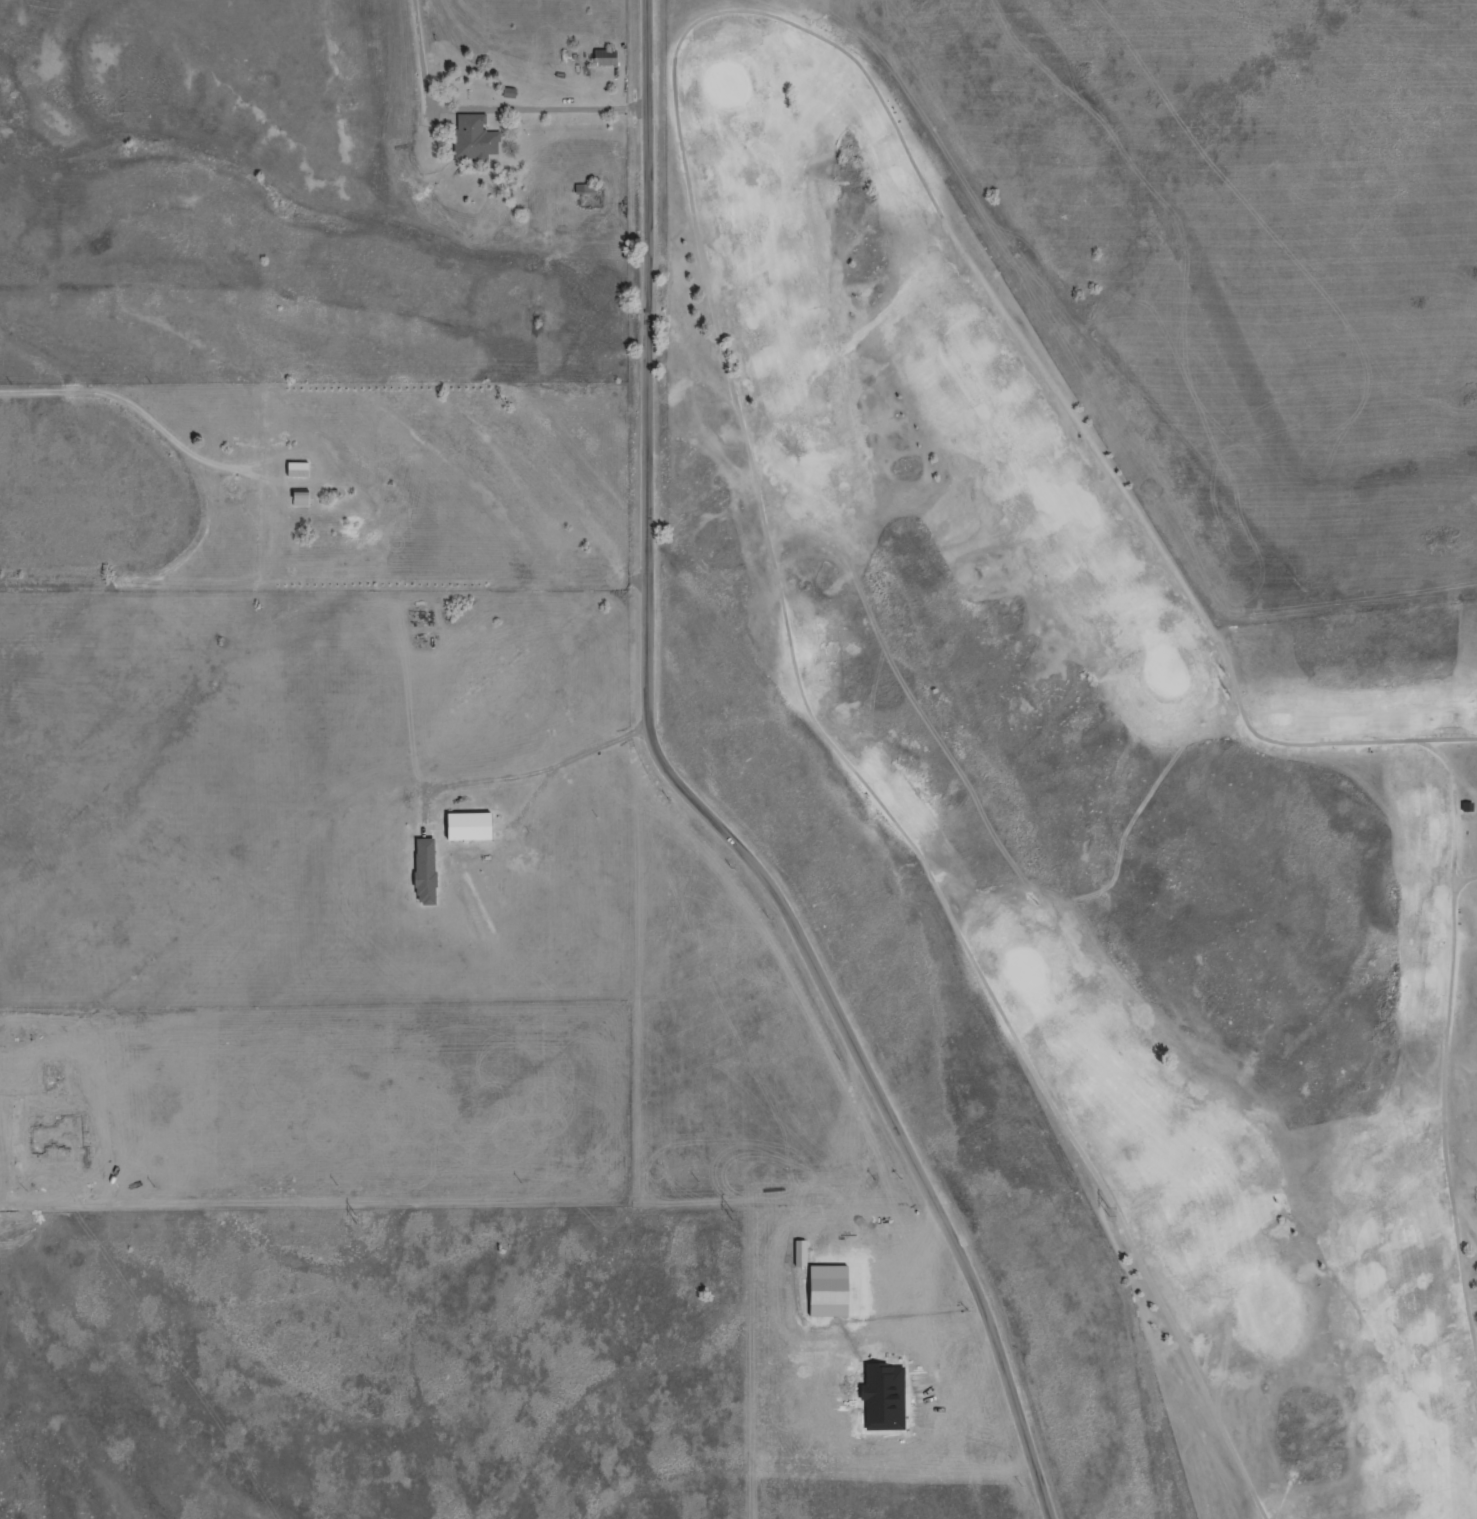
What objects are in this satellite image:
road: (421, 56)
building: (602, 59)
building: (472, 141)
building: (585, 189)
road: (699, 242)
road: (143, 413)
building: (295, 470)
building: (391, 492)
road: (532, 774)
road: (695, 796)
park: (1073, 805)
building: (1466, 806)
building: (466, 827)
building: (423, 872)
road: (1465, 881)
road: (1445, 1045)

